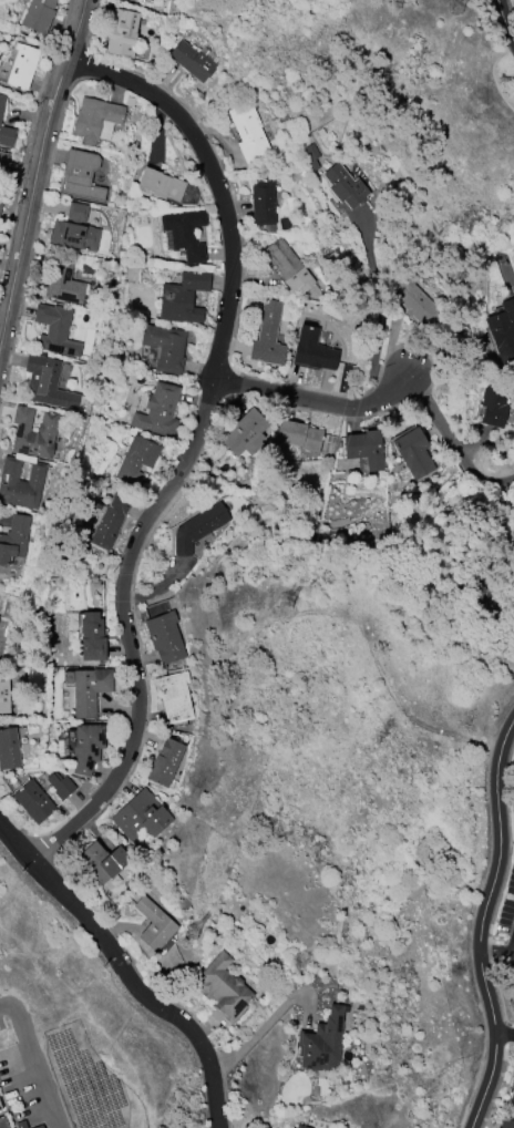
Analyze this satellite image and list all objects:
power tower: (464, 7)
road: (505, 13)
building: (39, 14)
building: (123, 34)
building: (193, 60)
building: (21, 66)
building: (1, 103)
building: (94, 119)
building: (248, 132)
building: (6, 136)
building: (2, 161)
road: (41, 175)
building: (80, 176)
building: (161, 184)
building: (345, 186)
building: (263, 203)
building: (0, 204)
building: (75, 230)
building: (185, 233)
building: (287, 266)
building: (63, 283)
building: (412, 297)
building: (182, 298)
road: (380, 308)
building: (55, 330)
building: (502, 334)
building: (268, 336)
building: (165, 347)
building: (312, 350)
building: (48, 383)
road: (315, 399)
building: (493, 402)
building: (158, 411)
building: (34, 432)
building: (245, 433)
building: (298, 435)
road: (453, 440)
road: (194, 448)
building: (364, 448)
building: (413, 452)
building: (136, 459)
building: (20, 483)
building: (110, 521)
building: (197, 527)
building: (14, 539)
power tower: (361, 575)
power tower: (291, 603)
building: (90, 636)
building: (165, 637)
building: (88, 689)
building: (3, 694)
building: (174, 698)
building: (86, 747)
building: (8, 749)
building: (164, 762)
building: (59, 785)
building: (33, 801)
building: (141, 816)
building: (102, 860)
road: (480, 923)
building: (154, 924)
power tower: (196, 934)
road: (496, 953)
road: (121, 971)
building: (223, 988)
road: (4, 1006)
road: (266, 1022)
road: (503, 1037)
building: (321, 1043)
road: (32, 1066)
building: (512, 1099)
building: (0, 1108)
building: (2, 1122)
building: (21, 1124)
building: (506, 1124)
building: (39, 1127)
building: (296, 1127)
building: (300, 1127)

